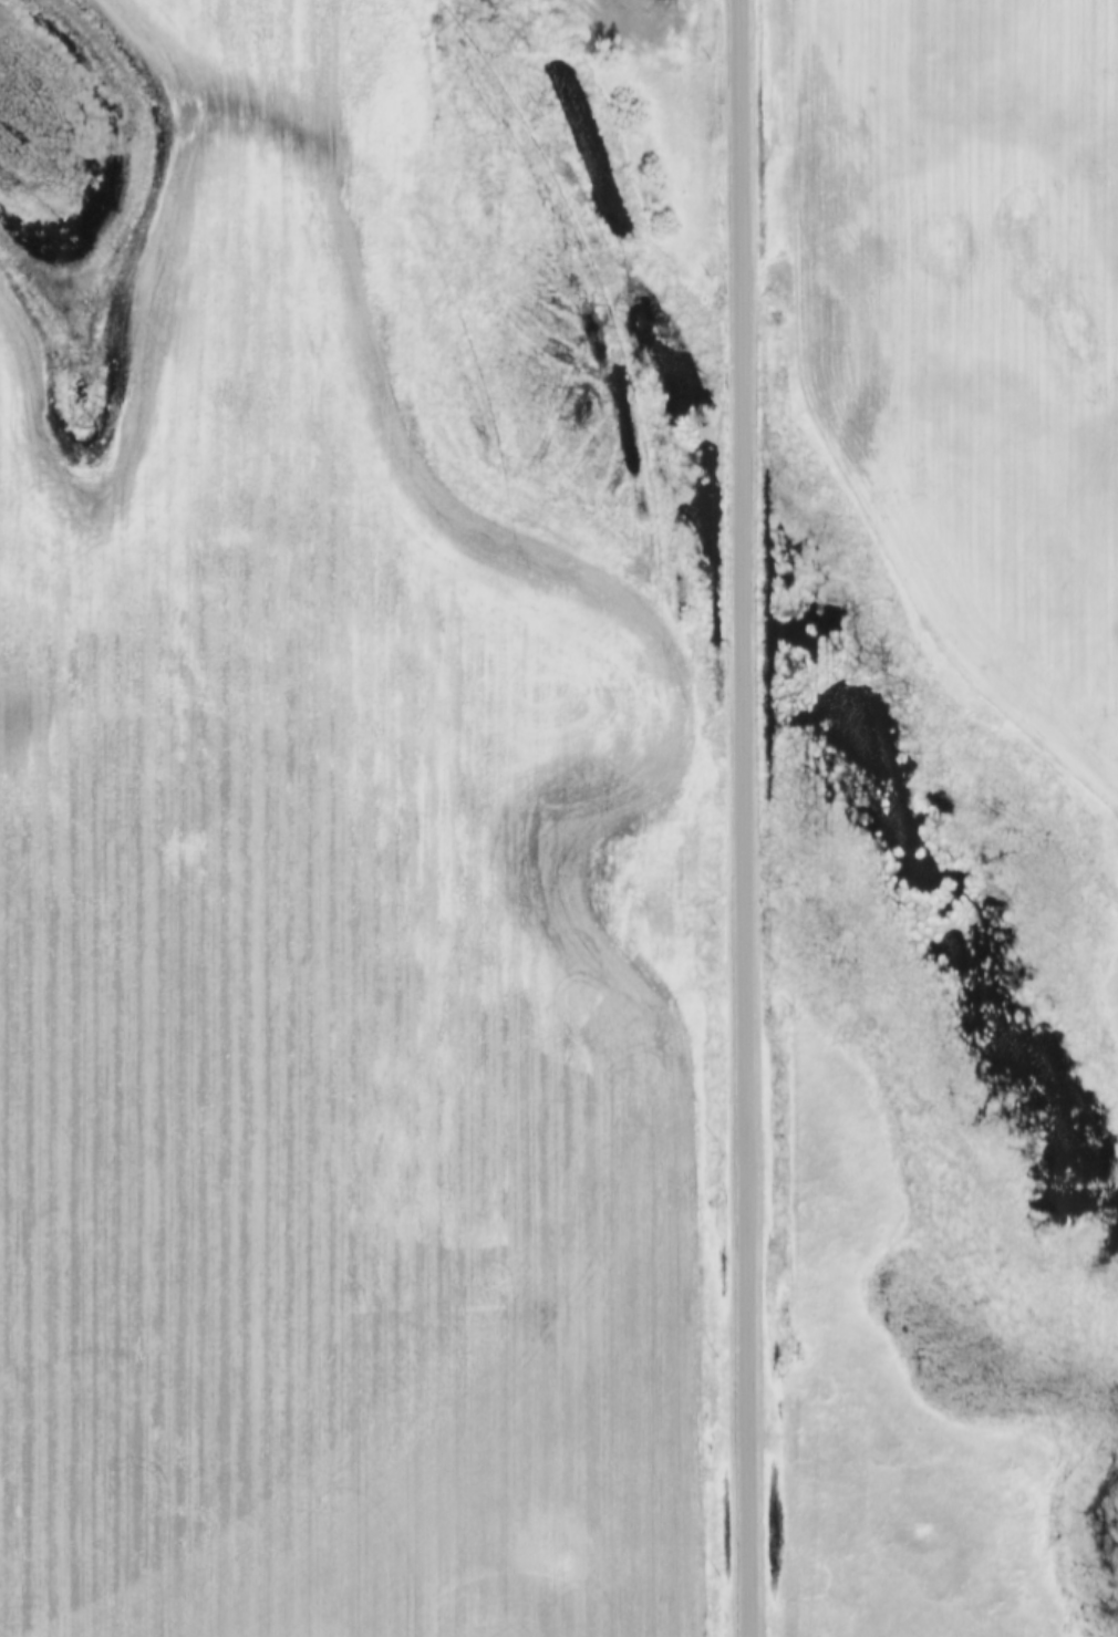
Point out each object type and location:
road: (747, 818)

